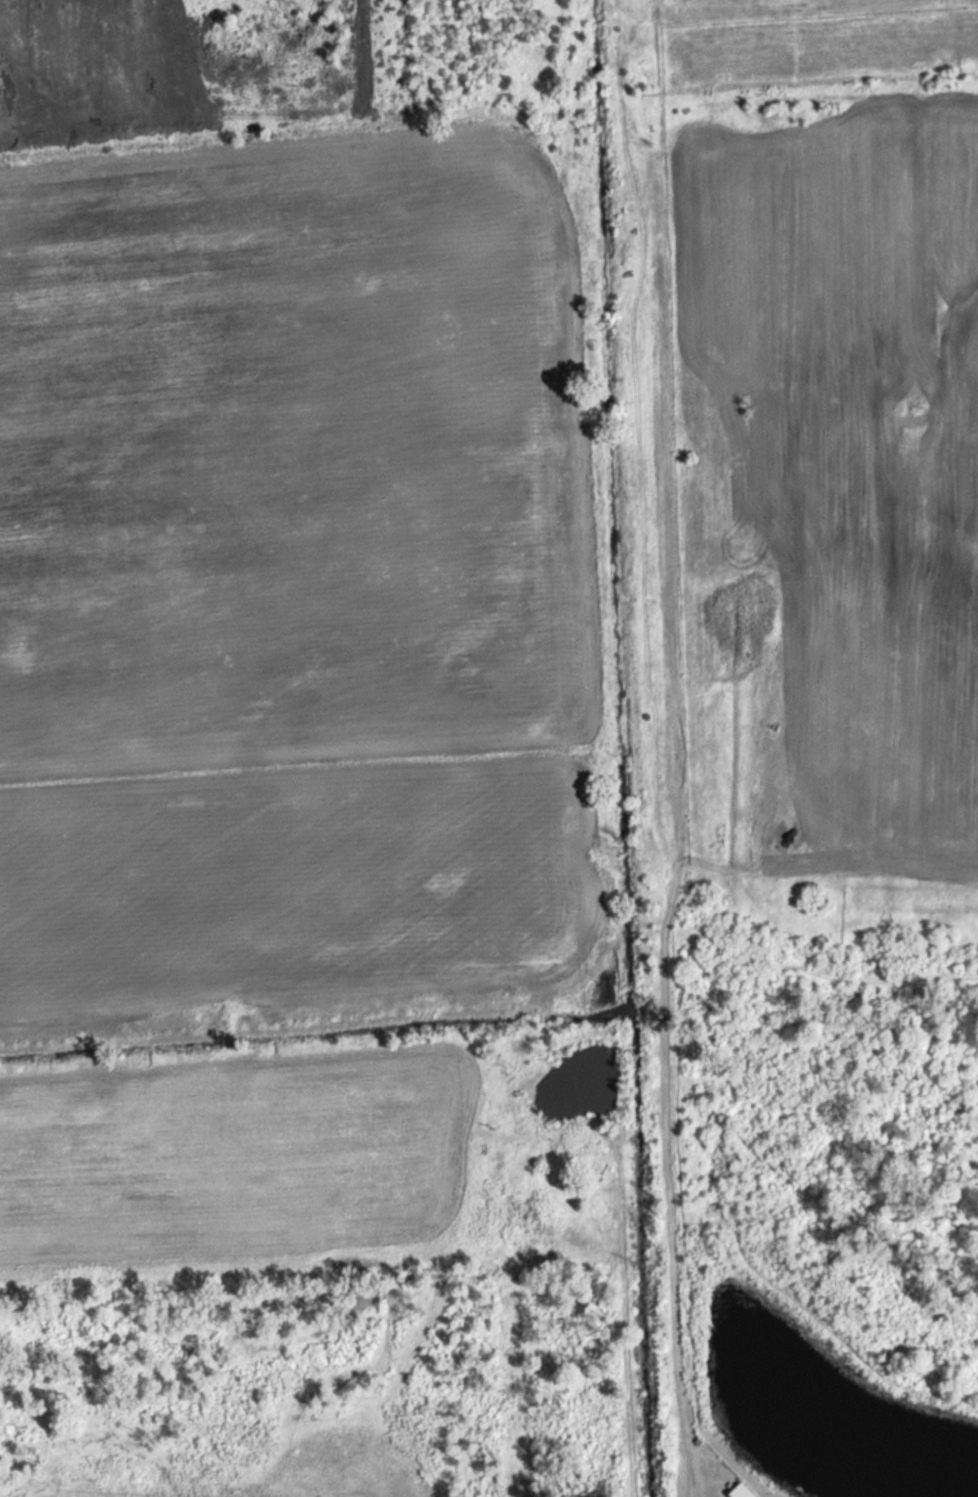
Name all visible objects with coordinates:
road: (634, 342)
building: (743, 1492)

